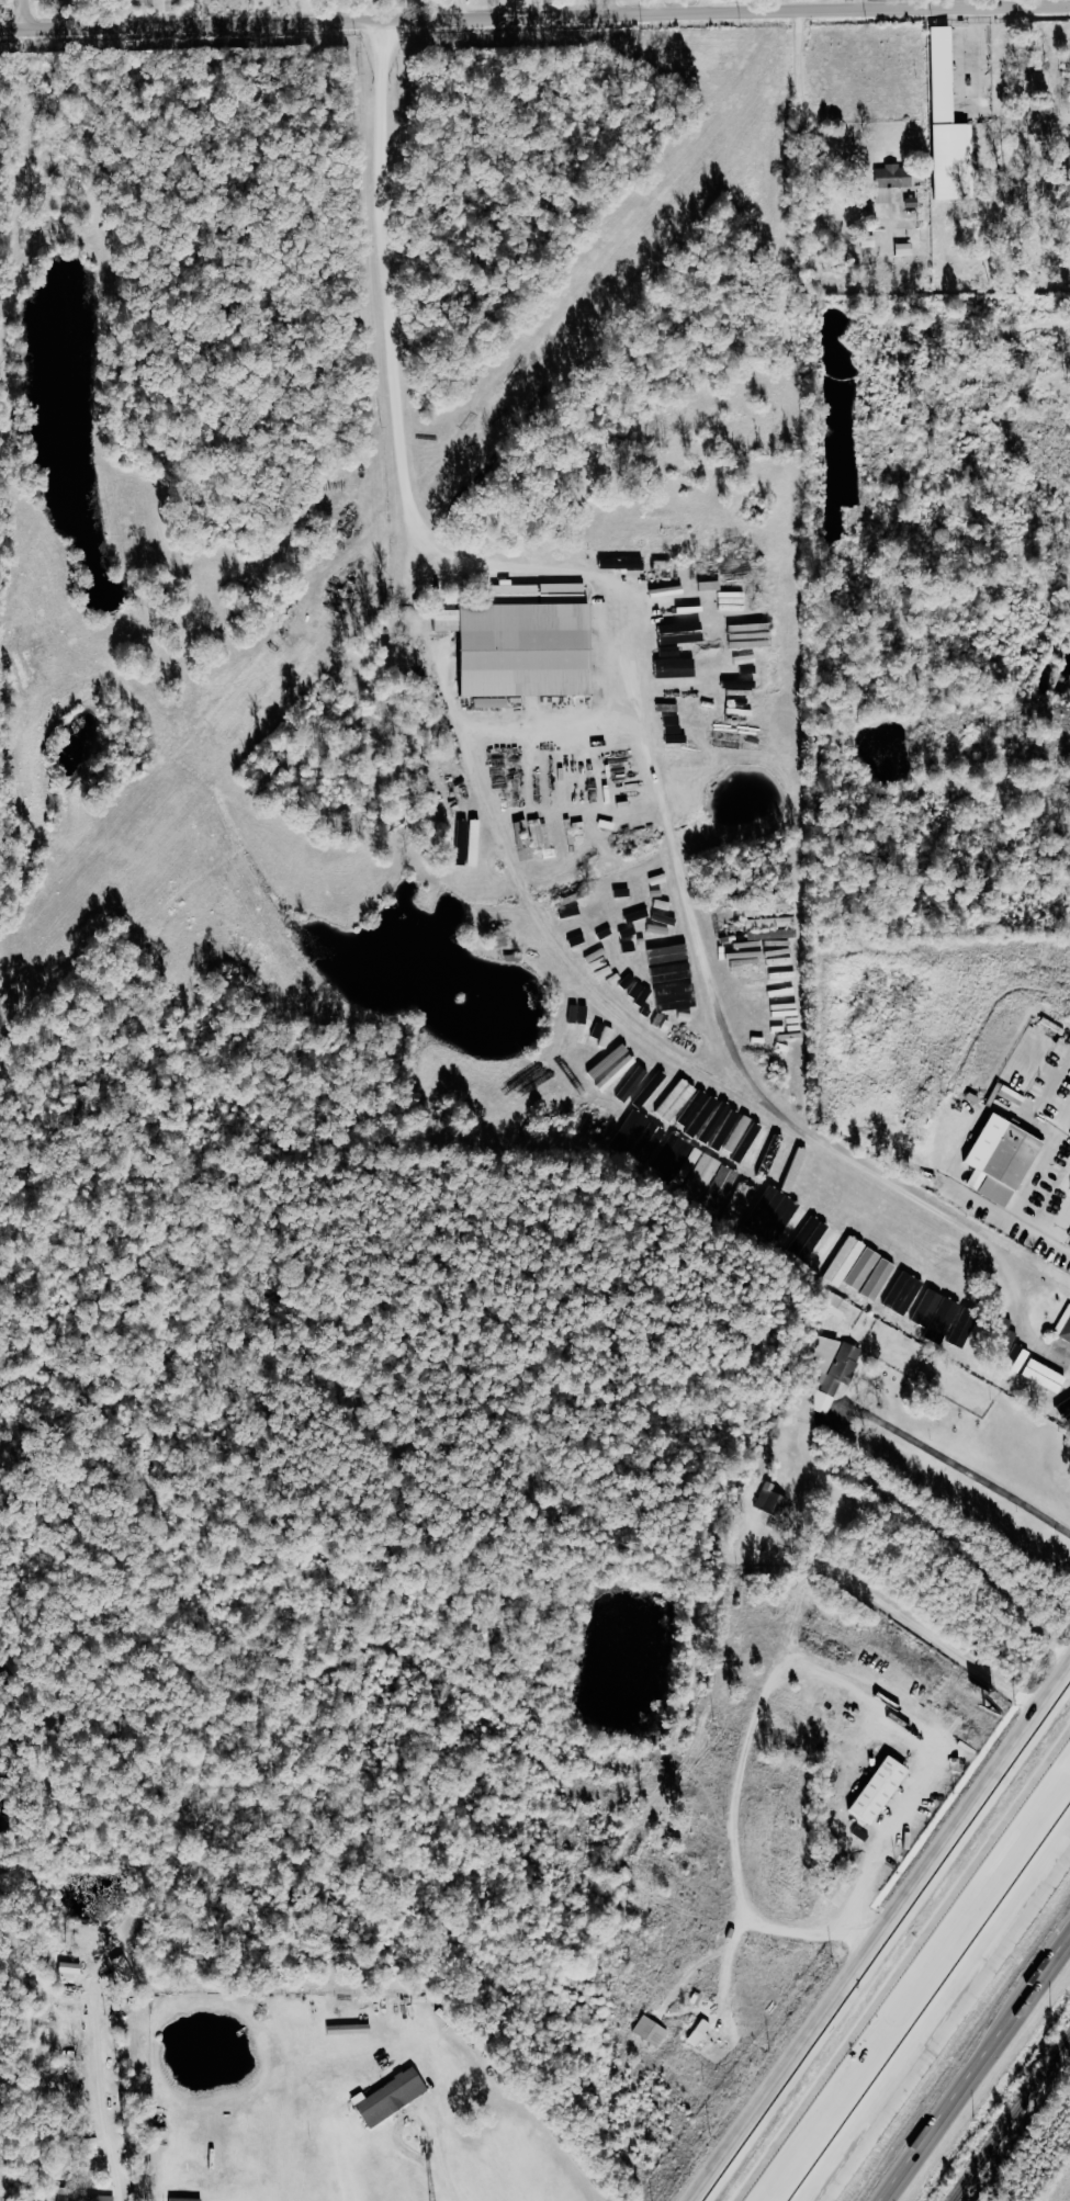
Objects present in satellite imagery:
road: (863, 7)
road: (609, 8)
road: (22, 14)
road: (534, 18)
road: (807, 104)
building: (944, 124)
building: (893, 176)
building: (868, 241)
building: (902, 249)
building: (676, 602)
building: (519, 642)
building: (677, 667)
road: (656, 692)
building: (488, 702)
building: (534, 837)
building: (463, 845)
building: (658, 880)
road: (530, 887)
building: (497, 938)
building: (657, 949)
building: (589, 1029)
building: (618, 1073)
building: (632, 1084)
building: (677, 1100)
building: (640, 1138)
building: (769, 1158)
road: (967, 1161)
building: (1010, 1165)
building: (698, 1172)
building: (747, 1193)
building: (799, 1229)
building: (854, 1264)
building: (879, 1279)
building: (906, 1298)
building: (833, 1302)
building: (1009, 1333)
building: (829, 1353)
building: (1021, 1353)
building: (1044, 1376)
building: (838, 1378)
building: (1068, 1400)
building: (1065, 1413)
road: (973, 1474)
building: (775, 1501)
building: (877, 1790)
road: (1038, 1829)
road: (1055, 1873)
building: (838, 1890)
road: (887, 1944)
building: (75, 1969)
building: (357, 2029)
building: (651, 2031)
building: (699, 2032)
road: (890, 2038)
road: (931, 2047)
road: (980, 2074)
building: (395, 2097)
railway: (1013, 2120)
road: (449, 2174)
building: (189, 2200)

